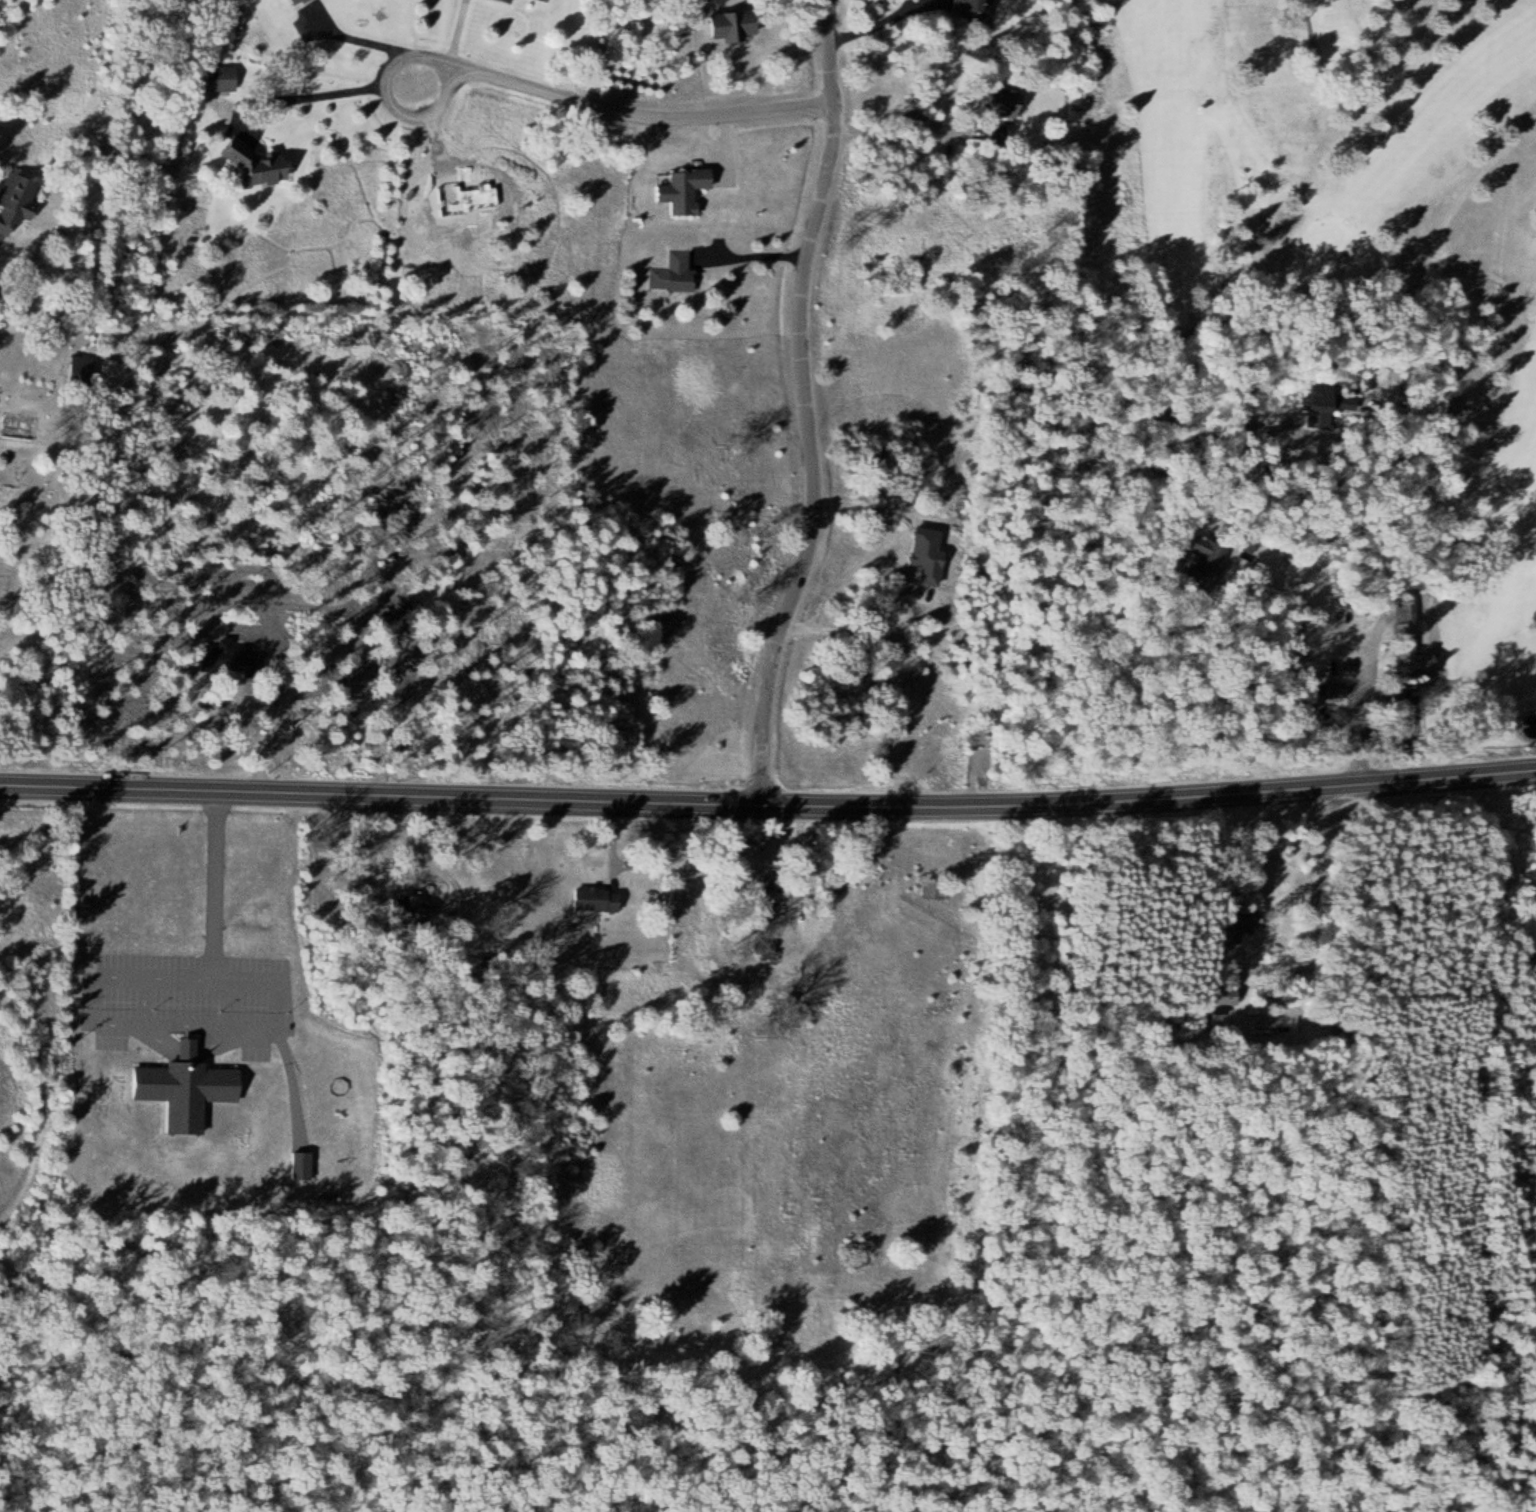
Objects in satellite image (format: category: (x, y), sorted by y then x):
building: (549, 0)
building: (296, 1)
building: (507, 1)
building: (977, 11)
building: (736, 25)
building: (223, 79)
building: (1010, 104)
road: (622, 110)
building: (259, 165)
building: (686, 190)
building: (19, 202)
building: (674, 273)
building: (83, 370)
park: (1282, 382)
road: (804, 403)
building: (1216, 552)
road: (1373, 622)
building: (1419, 661)
building: (1340, 690)
road: (768, 804)
building: (934, 889)
building: (775, 894)
building: (598, 899)
building: (414, 908)
building: (1197, 1020)

